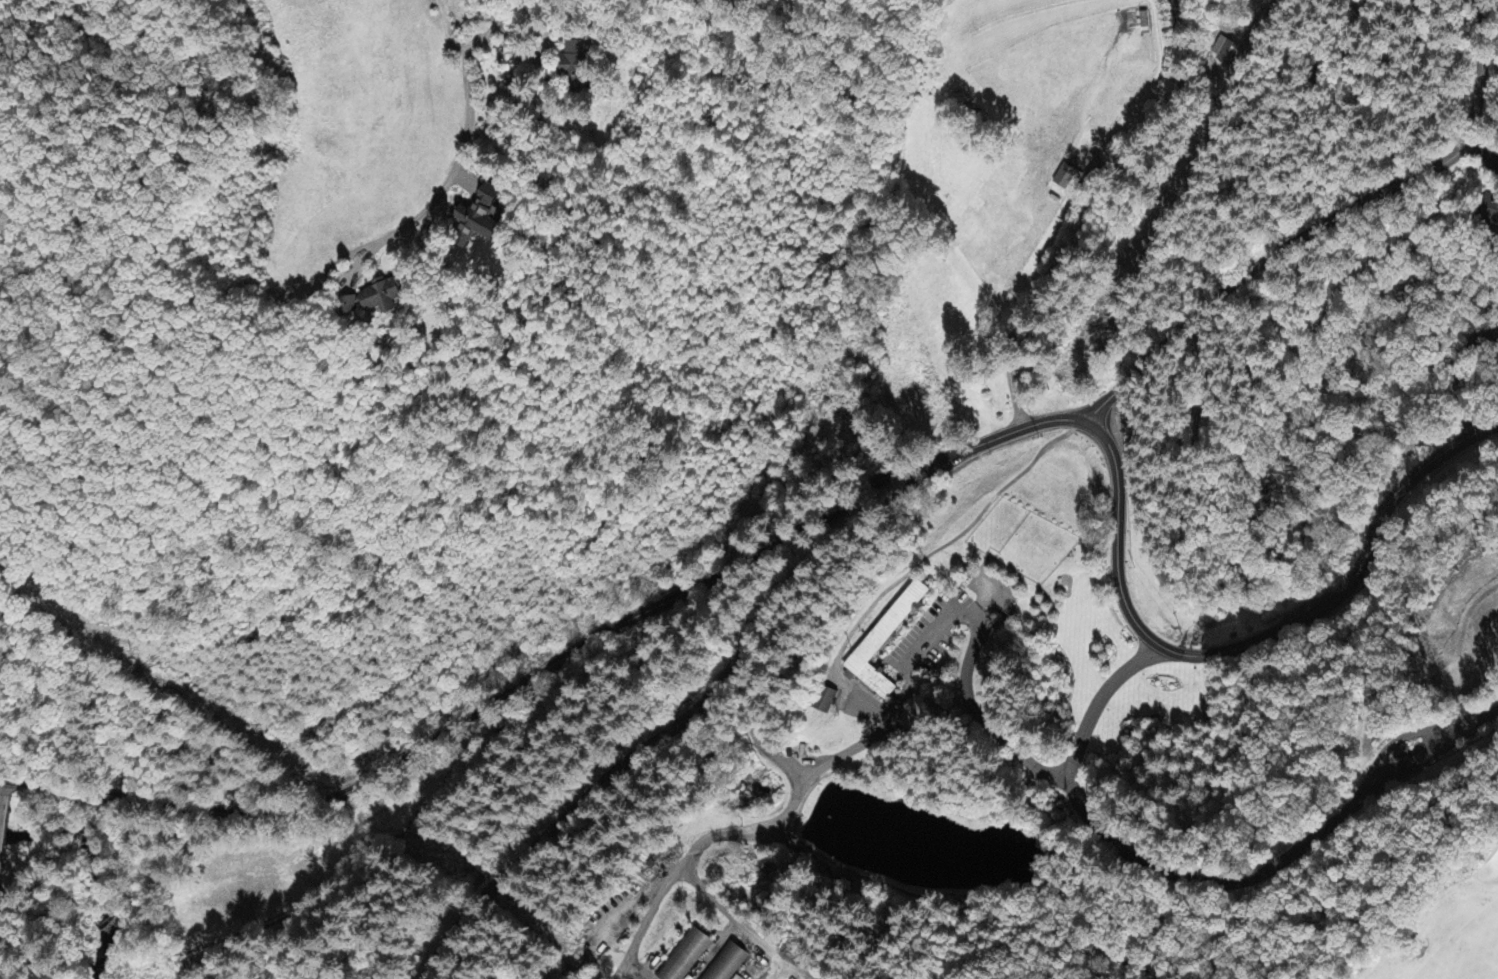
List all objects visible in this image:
building: (1225, 52)
building: (574, 65)
road: (1481, 152)
road: (478, 170)
building: (1490, 211)
building: (478, 218)
road: (1326, 228)
road: (1082, 238)
road: (340, 298)
building: (373, 298)
road: (1459, 374)
road: (792, 594)
building: (884, 641)
road: (1250, 643)
road: (553, 664)
building: (825, 701)
road: (895, 709)
road: (976, 714)
road: (627, 769)
road: (2, 798)
road: (750, 828)
road: (1202, 882)
road: (736, 918)
road: (644, 920)
park: (1451, 932)
building: (685, 956)
building: (726, 963)

